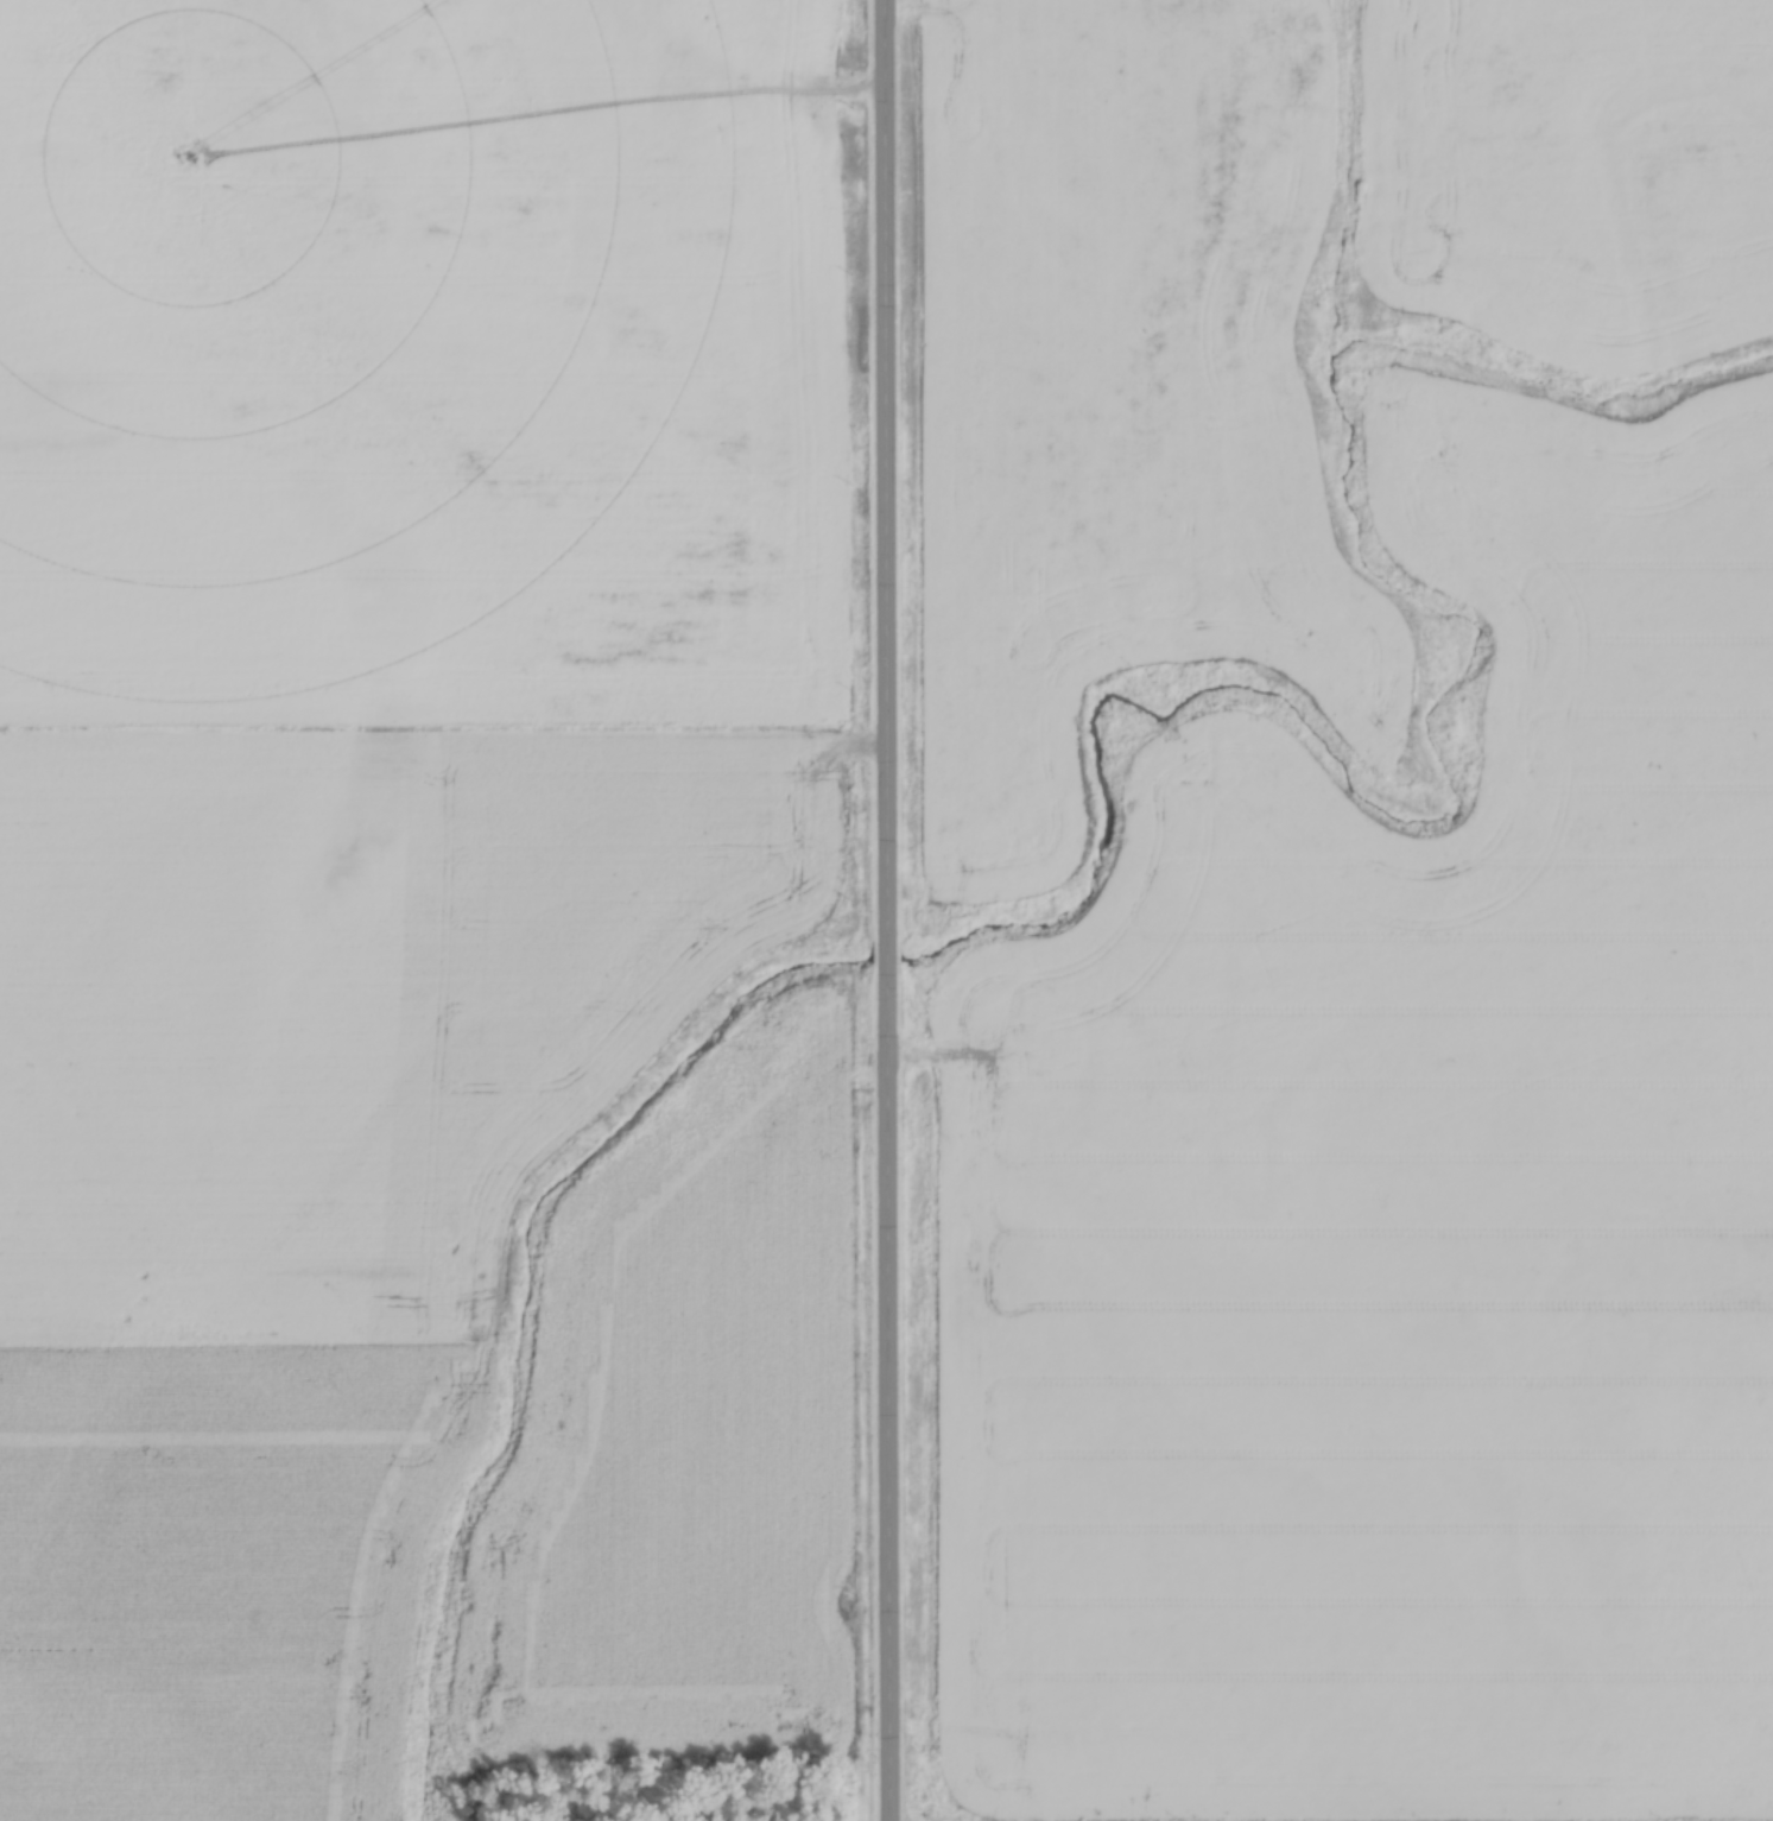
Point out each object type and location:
road: (886, 910)

